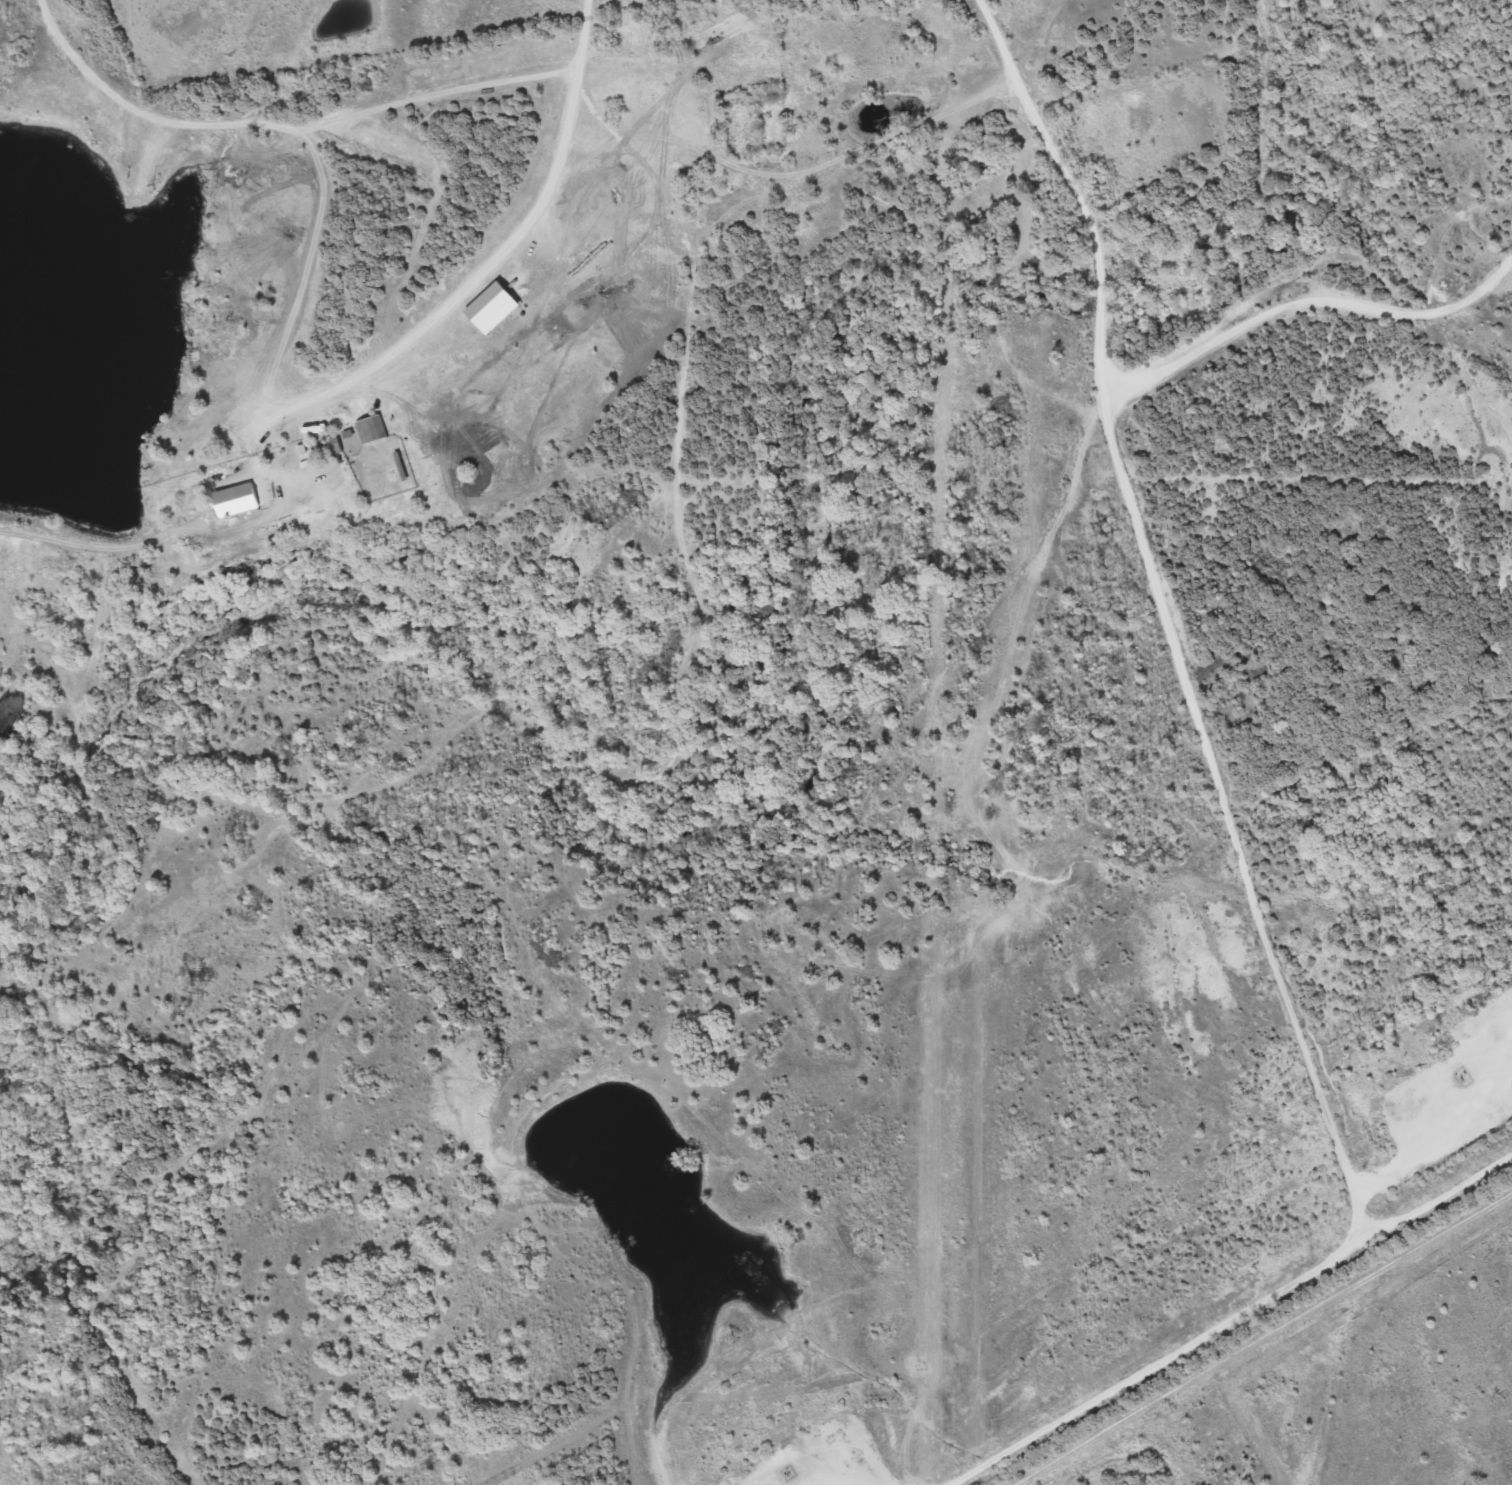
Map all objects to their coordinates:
road: (995, 41)
road: (311, 104)
road: (465, 275)
road: (1301, 288)
building: (369, 428)
building: (324, 446)
building: (229, 499)
road: (1175, 650)
road: (1438, 1137)
road: (1262, 1336)

